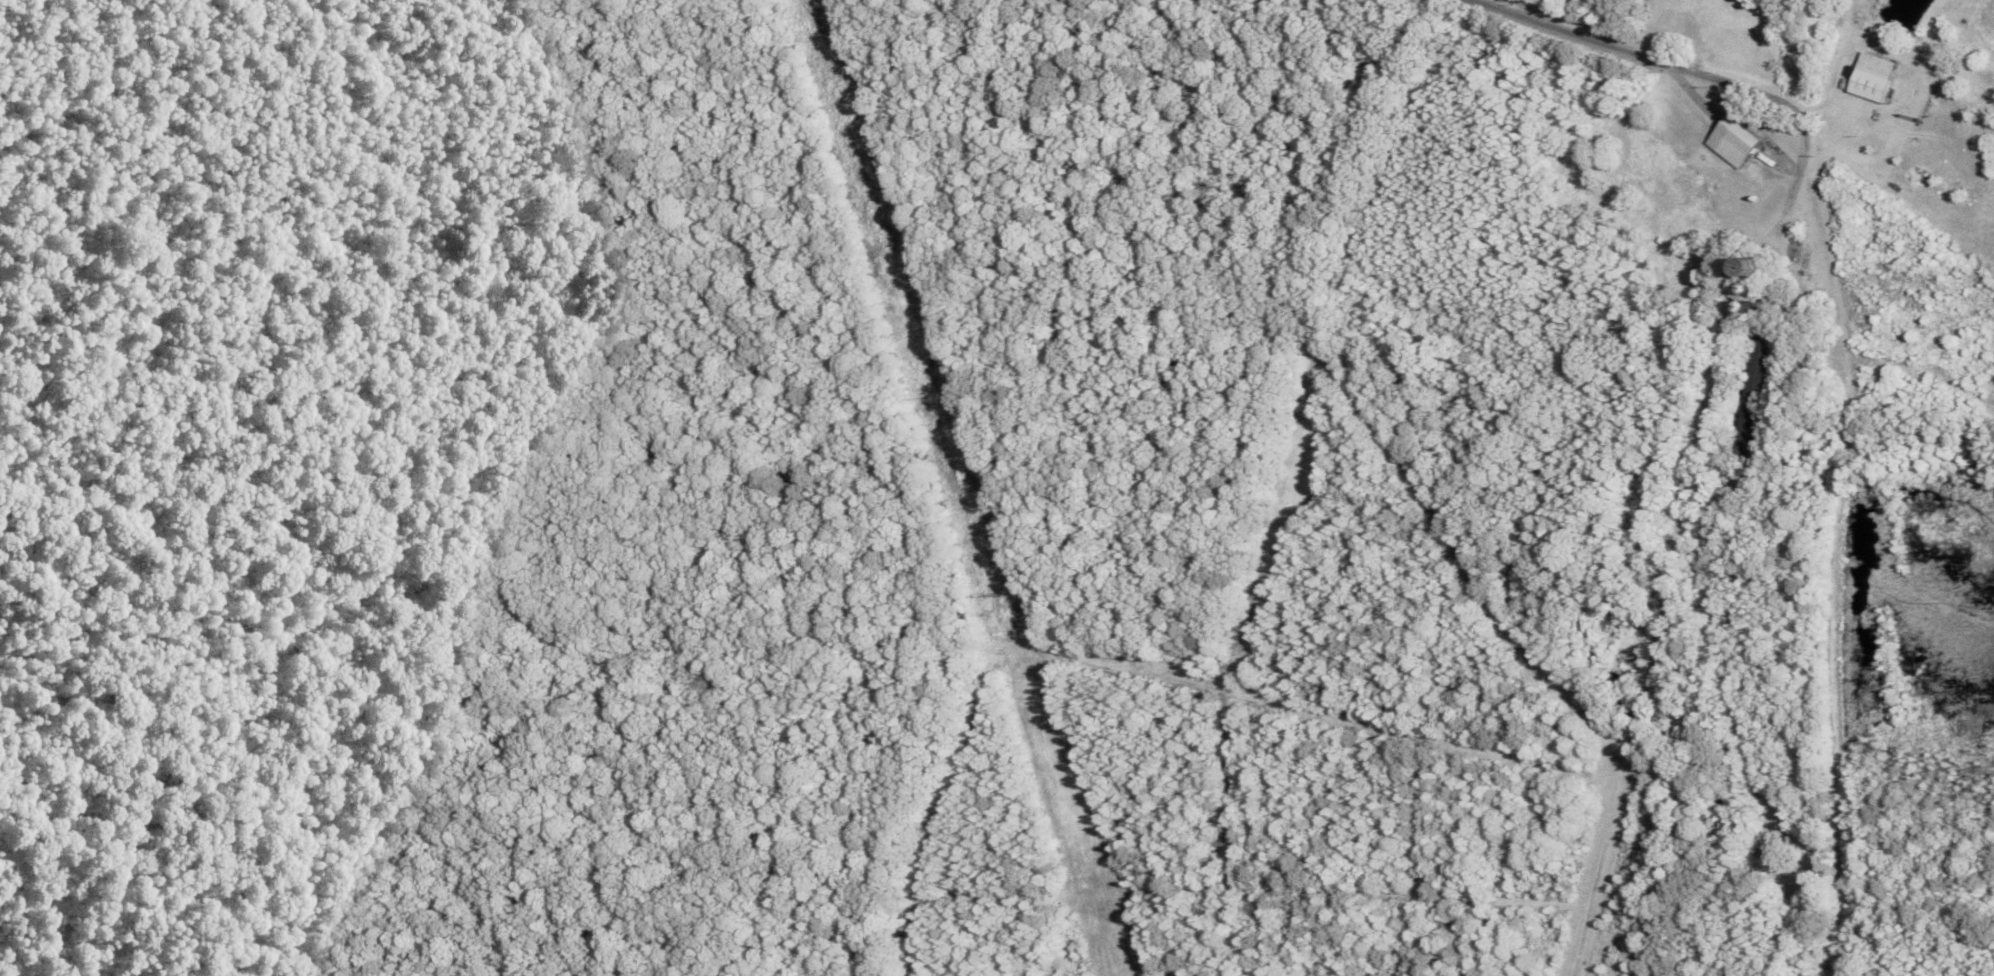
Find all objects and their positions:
building: (1876, 79)
building: (1736, 143)

